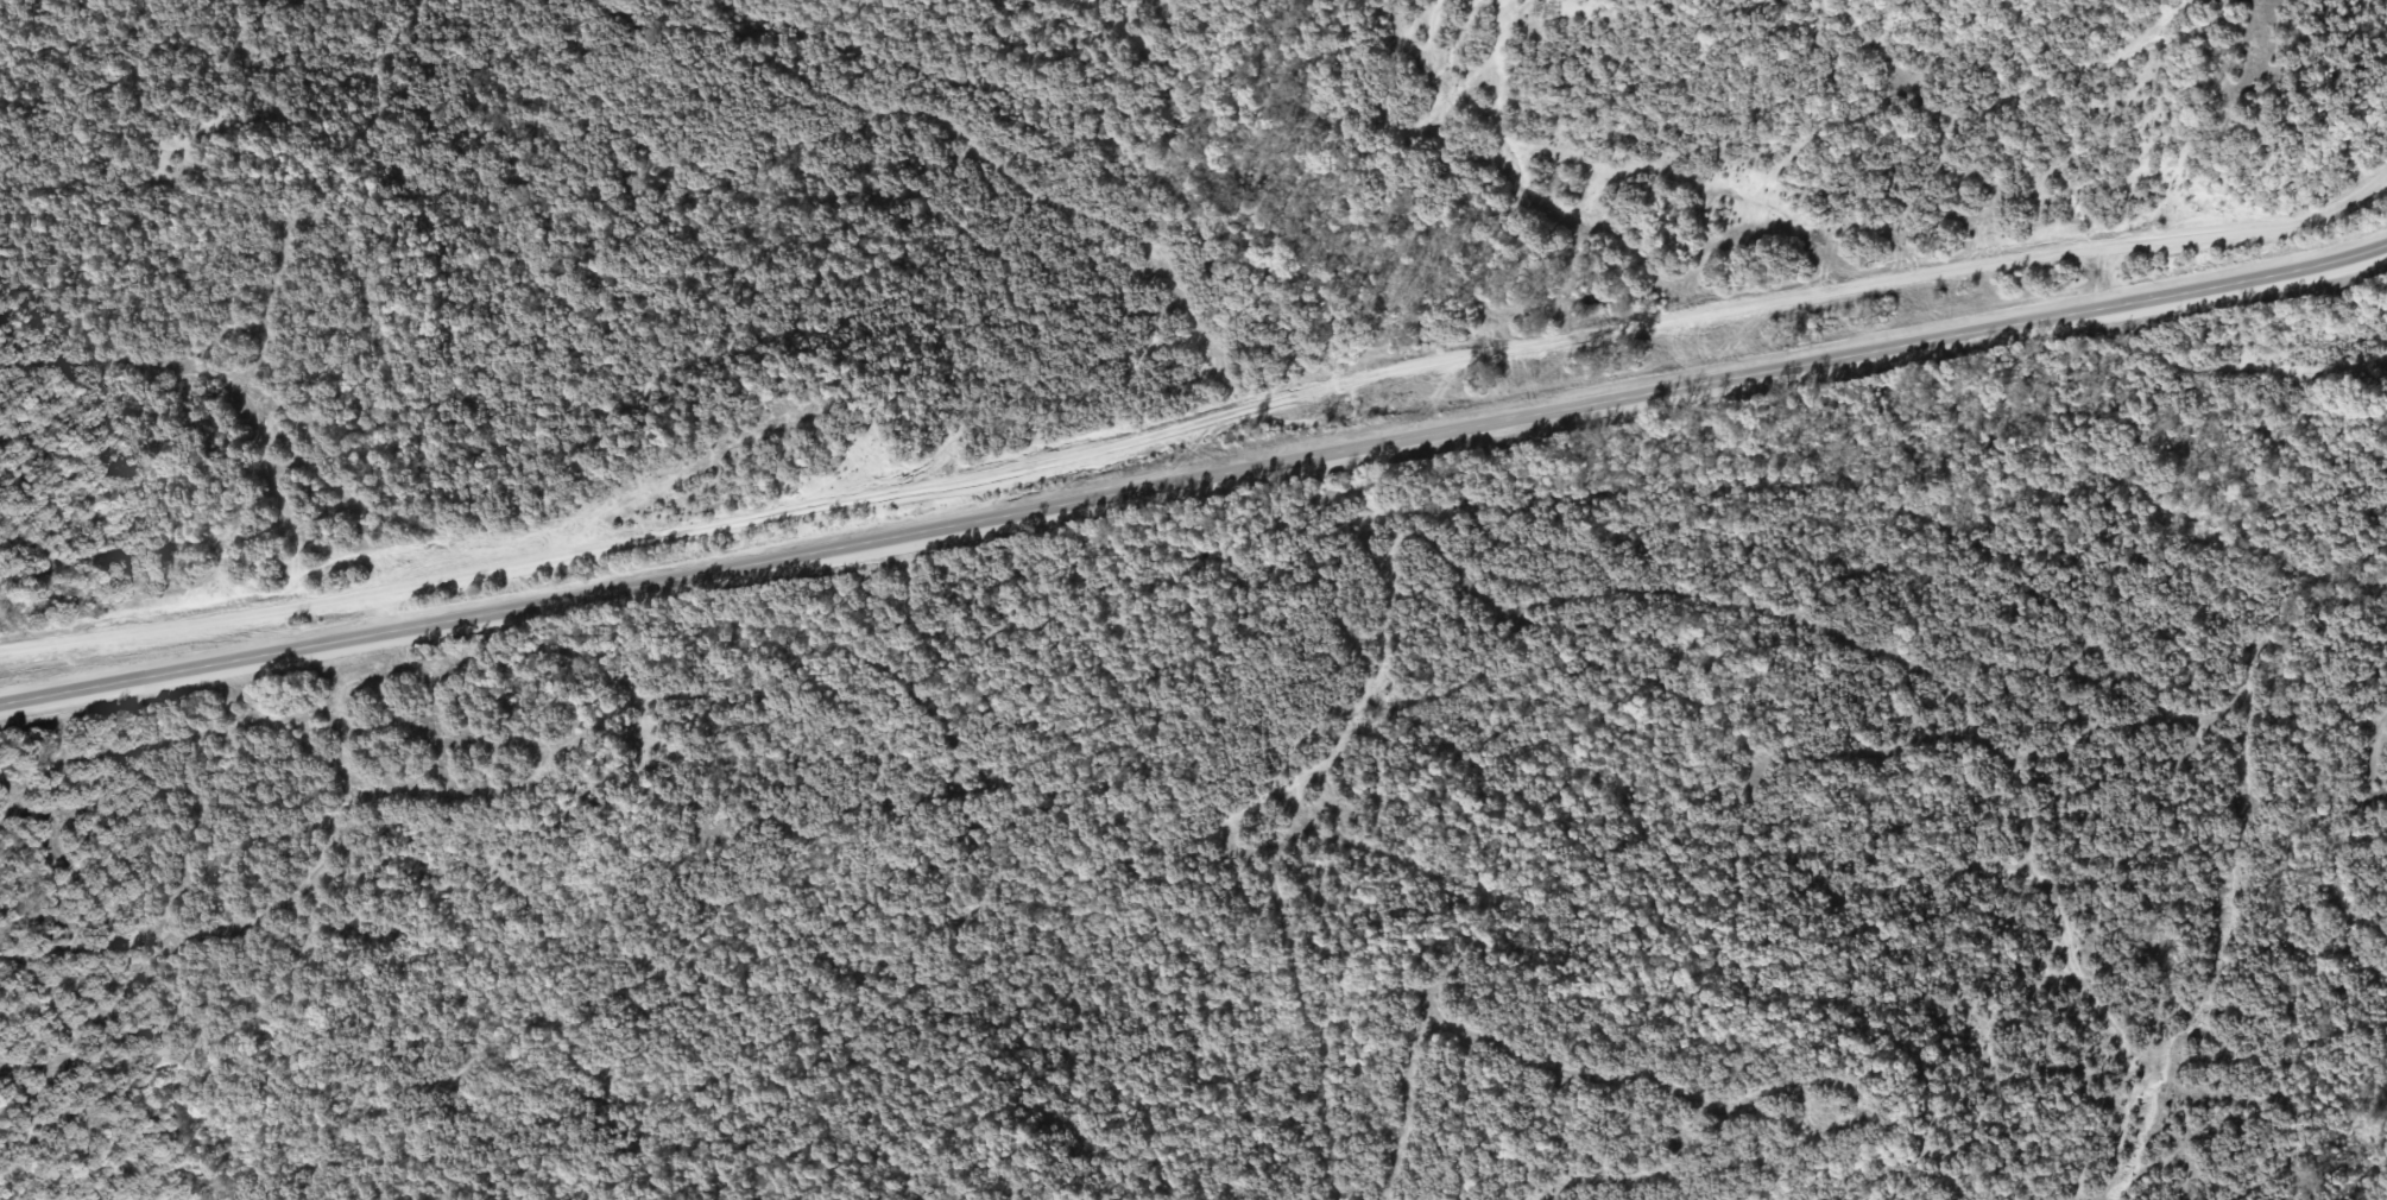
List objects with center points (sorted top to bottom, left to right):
road: (1198, 422)
road: (1194, 474)

